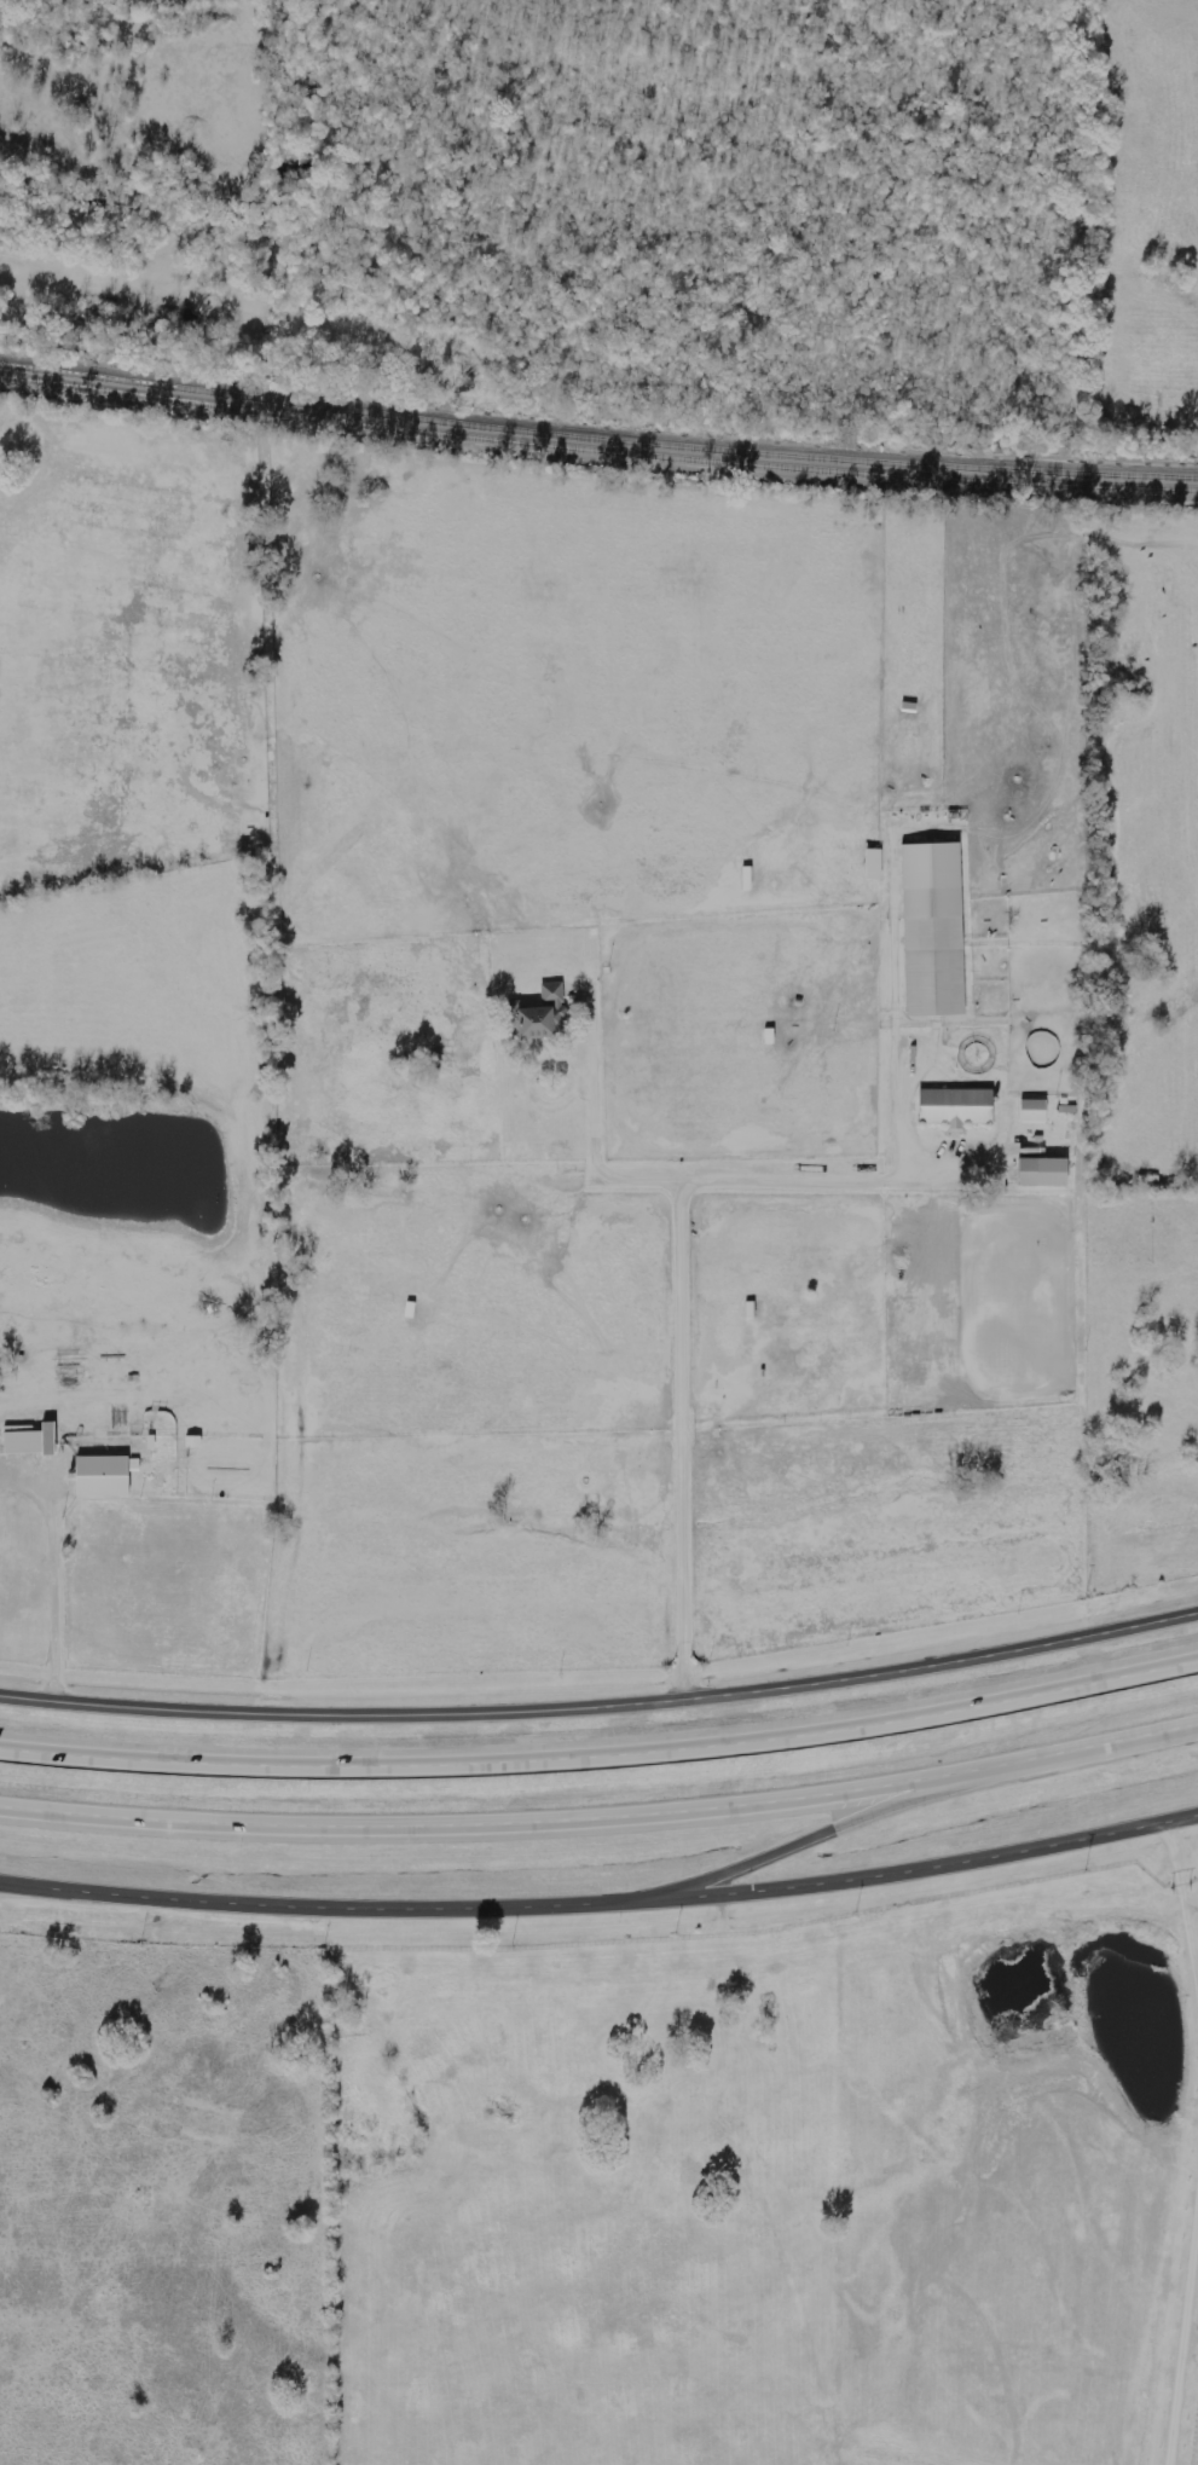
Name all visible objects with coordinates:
railway: (597, 441)
railway: (597, 456)
building: (539, 1018)
building: (954, 1109)
building: (1032, 1113)
building: (1041, 1174)
road: (803, 1182)
road: (684, 1310)
building: (29, 1442)
building: (103, 1476)
road: (62, 1569)
road: (602, 1700)
road: (602, 1747)
road: (601, 1811)
road: (838, 1827)
road: (916, 1868)
road: (314, 1908)

